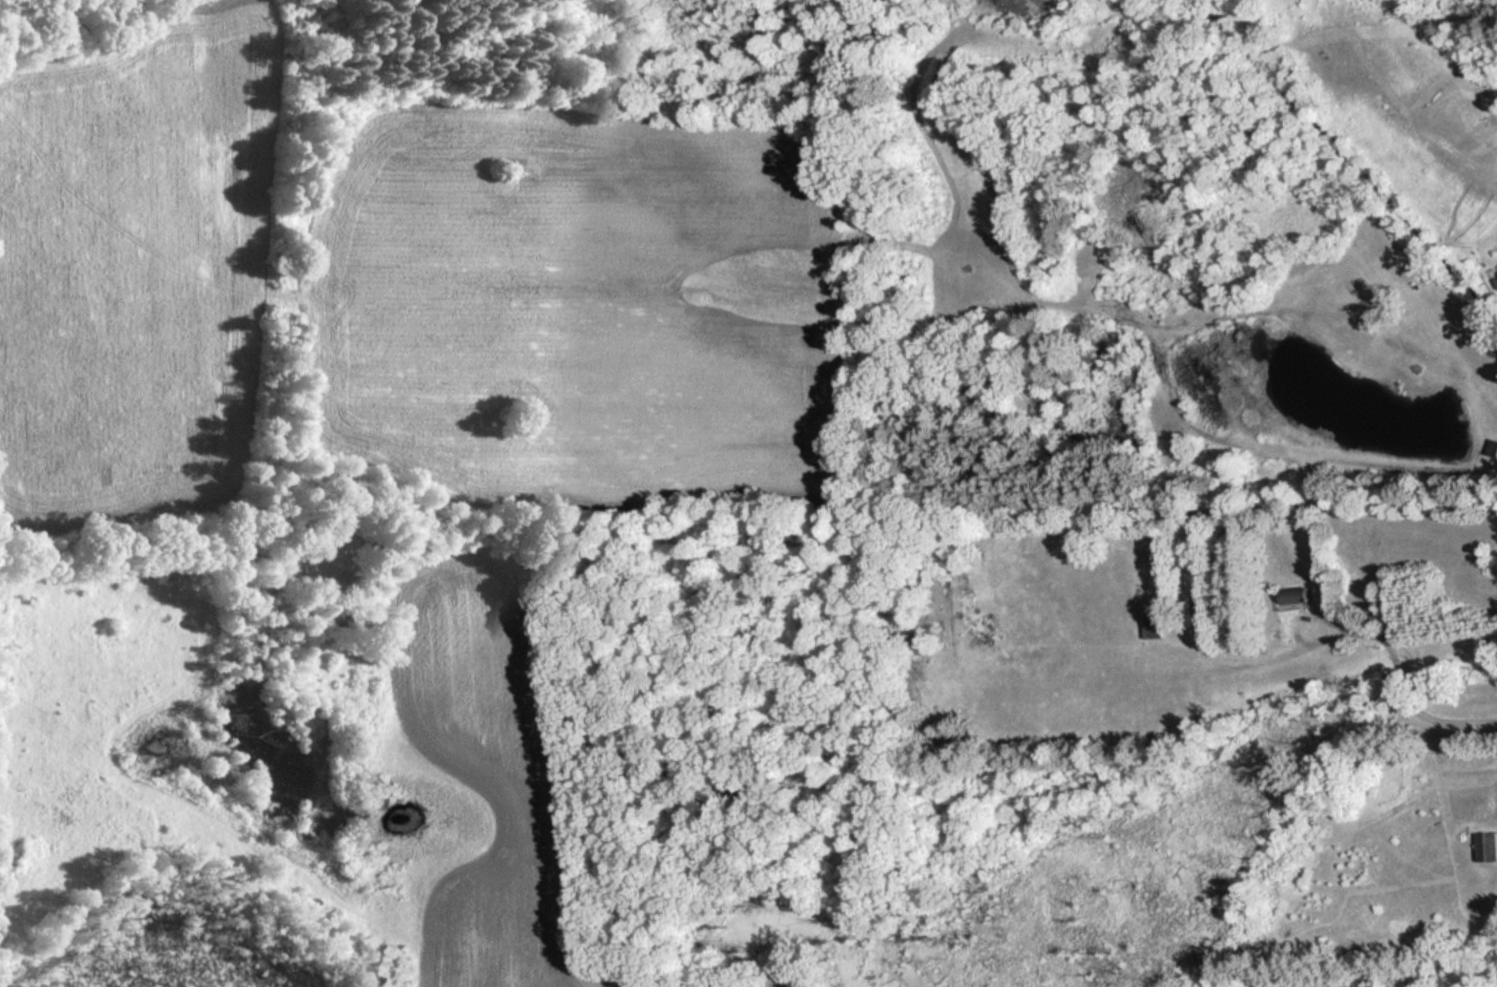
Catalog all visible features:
building: (1300, 596)
building: (1154, 629)
road: (1407, 687)
building: (1487, 845)

